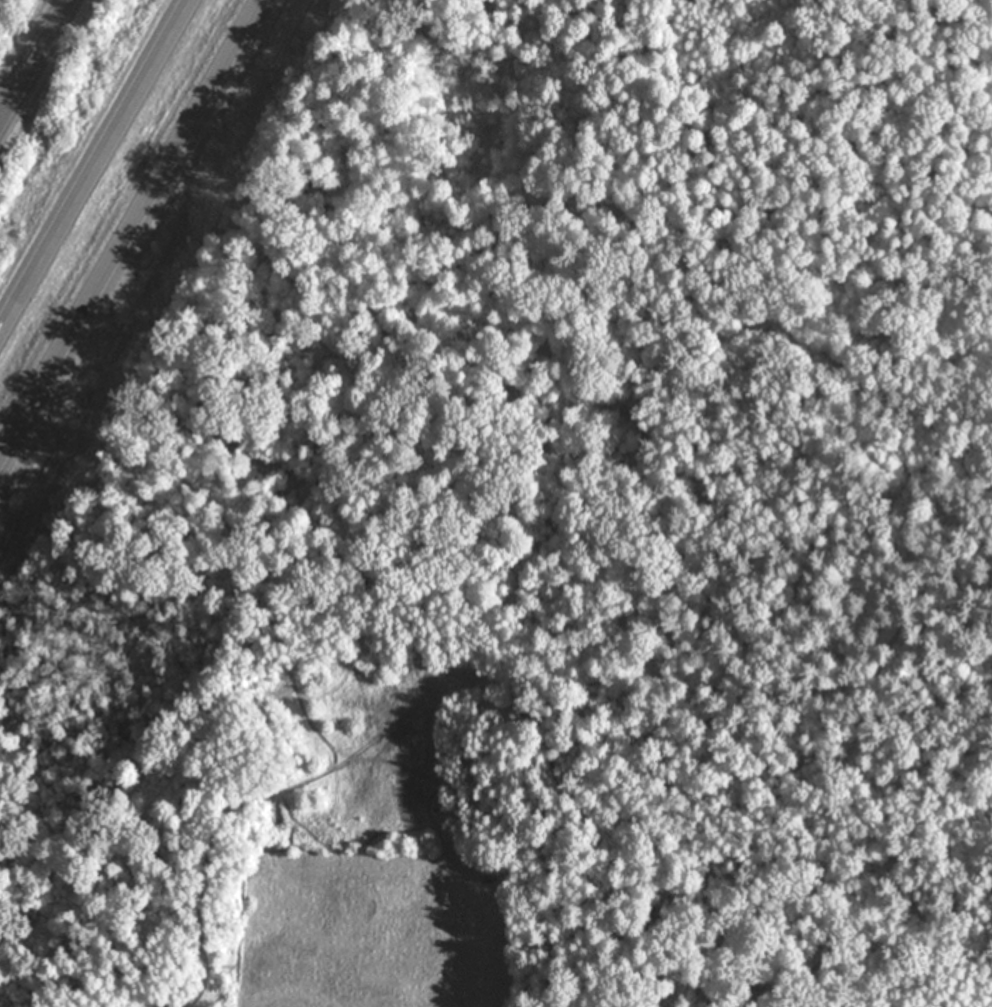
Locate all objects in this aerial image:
road: (35, 61)
road: (2, 116)
road: (95, 168)
road: (131, 231)

